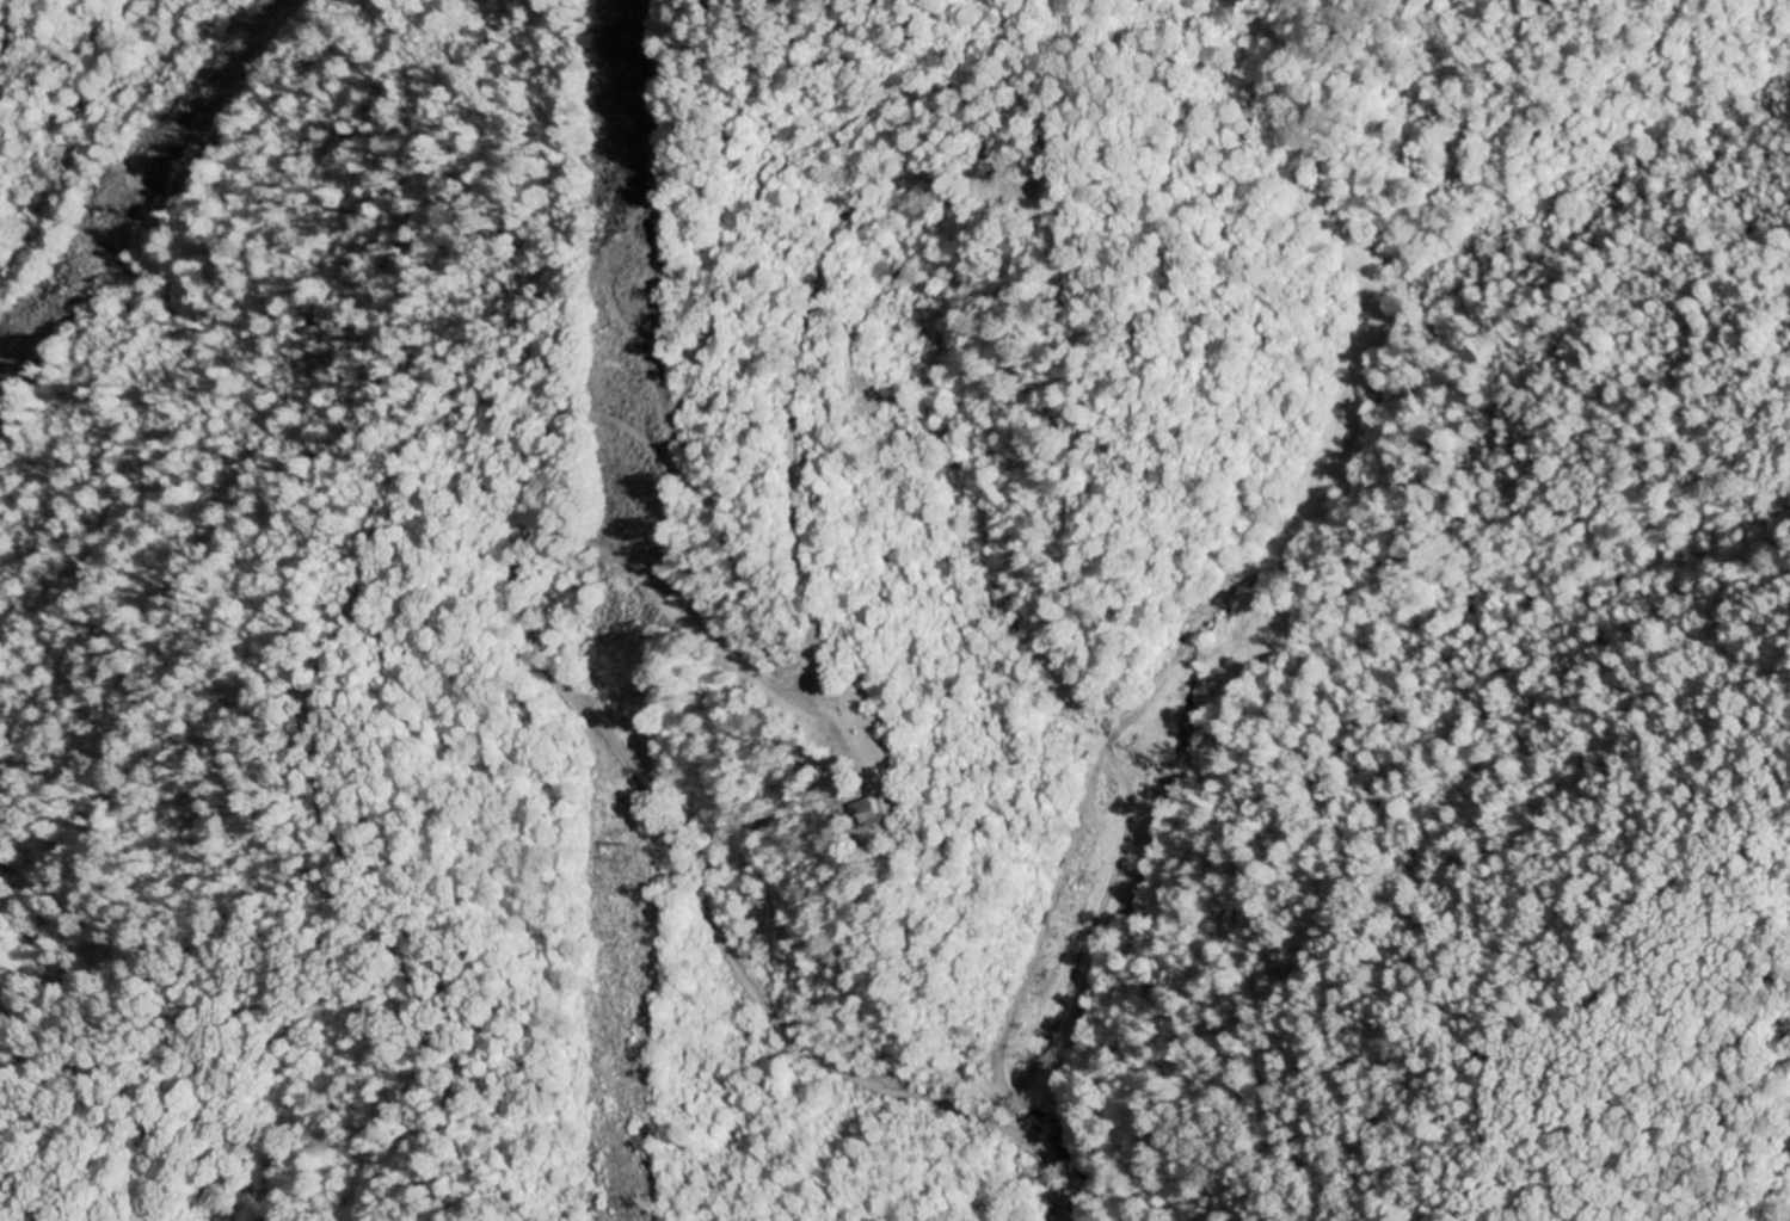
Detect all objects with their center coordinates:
power tower: (609, 234)
power tower: (609, 844)
road: (763, 1005)

